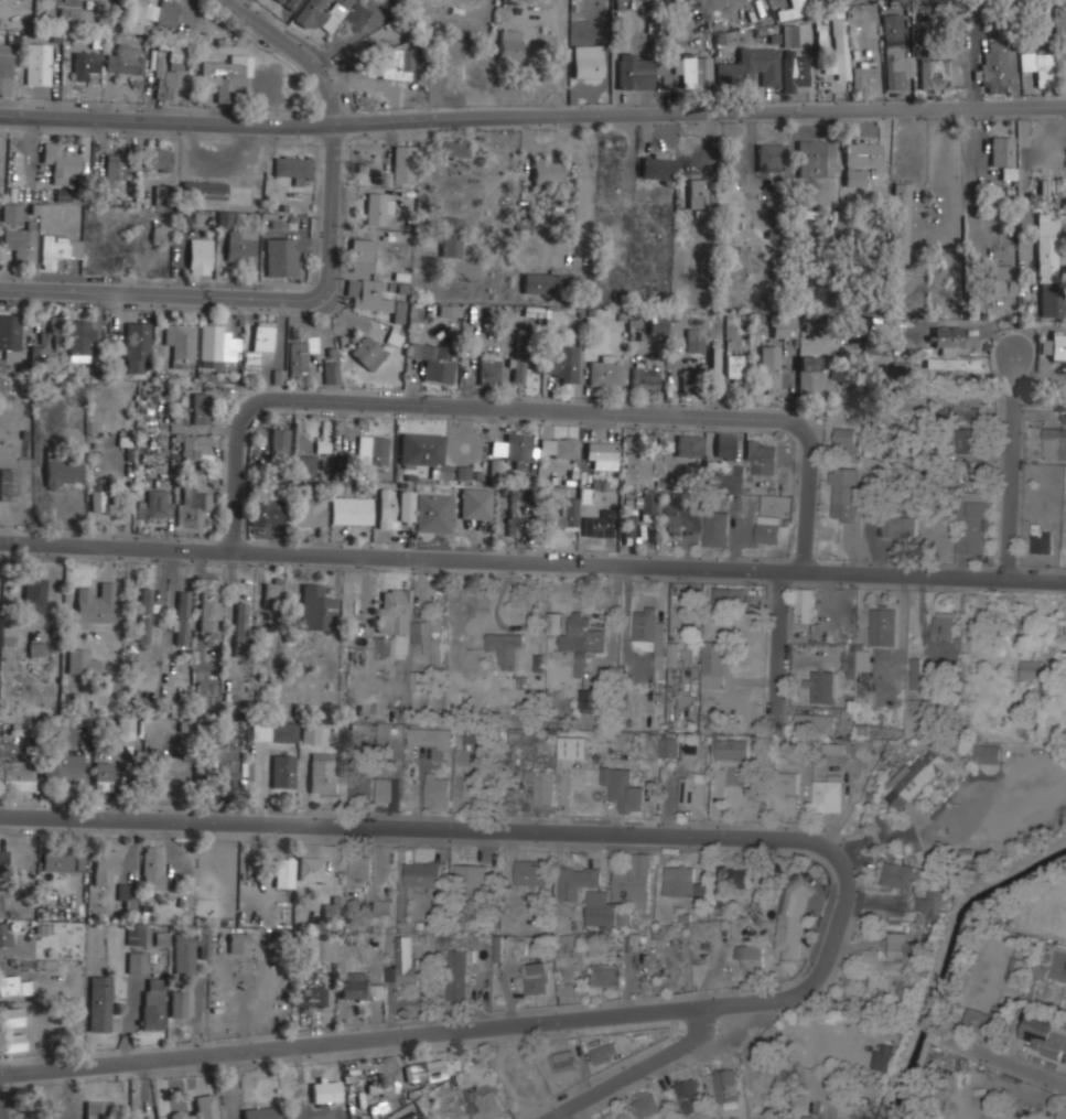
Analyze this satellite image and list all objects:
building: (289, 3)
building: (796, 3)
building: (168, 13)
building: (333, 13)
building: (133, 15)
building: (76, 18)
building: (788, 36)
building: (839, 43)
building: (509, 44)
road: (297, 49)
building: (894, 58)
building: (126, 60)
building: (588, 60)
road: (465, 61)
building: (39, 63)
building: (86, 63)
building: (408, 64)
building: (993, 66)
building: (1040, 66)
building: (7, 67)
building: (750, 67)
building: (694, 68)
building: (633, 69)
building: (795, 73)
building: (861, 73)
building: (937, 74)
building: (170, 79)
building: (224, 79)
road: (532, 117)
building: (0, 147)
building: (453, 148)
building: (1003, 154)
building: (772, 155)
building: (810, 157)
building: (158, 159)
building: (860, 160)
building: (61, 161)
building: (405, 163)
building: (657, 165)
building: (294, 168)
building: (120, 169)
building: (546, 169)
building: (205, 193)
building: (698, 193)
building: (67, 195)
building: (162, 195)
road: (582, 202)
building: (379, 208)
building: (12, 213)
building: (182, 218)
building: (900, 222)
building: (161, 232)
building: (452, 236)
building: (21, 240)
building: (241, 246)
building: (58, 249)
building: (200, 255)
building: (363, 255)
building: (281, 256)
building: (1048, 266)
building: (1003, 278)
building: (549, 281)
road: (250, 297)
building: (374, 298)
building: (552, 316)
building: (657, 321)
road: (958, 324)
building: (784, 326)
building: (55, 335)
building: (948, 336)
building: (9, 338)
building: (394, 338)
building: (696, 340)
building: (80, 342)
building: (182, 344)
building: (211, 345)
building: (1058, 346)
building: (137, 347)
building: (257, 349)
building: (367, 351)
building: (37, 355)
building: (300, 356)
building: (434, 361)
building: (563, 363)
building: (952, 363)
building: (714, 365)
building: (733, 367)
building: (519, 369)
building: (772, 369)
building: (489, 370)
building: (604, 372)
building: (332, 374)
building: (808, 374)
building: (645, 377)
building: (692, 379)
building: (1, 385)
building: (204, 406)
road: (524, 408)
building: (962, 411)
building: (967, 440)
building: (725, 444)
building: (279, 445)
building: (689, 445)
building: (196, 446)
building: (558, 448)
building: (1055, 448)
building: (518, 449)
building: (374, 450)
building: (424, 451)
building: (602, 454)
building: (762, 454)
building: (643, 465)
building: (63, 466)
road: (1011, 466)
building: (305, 467)
building: (732, 481)
building: (9, 484)
building: (844, 493)
building: (97, 494)
building: (476, 504)
building: (648, 505)
building: (153, 506)
building: (193, 507)
building: (396, 507)
building: (310, 510)
building: (355, 510)
building: (571, 510)
building: (268, 513)
building: (515, 513)
building: (434, 514)
building: (681, 517)
building: (629, 519)
building: (900, 523)
building: (975, 523)
building: (600, 524)
building: (717, 527)
building: (768, 529)
building: (1042, 538)
road: (532, 560)
building: (273, 590)
building: (34, 595)
building: (729, 596)
building: (211, 603)
building: (97, 604)
building: (805, 604)
building: (317, 609)
building: (395, 610)
road: (153, 613)
building: (146, 614)
building: (181, 616)
building: (240, 621)
building: (884, 624)
building: (943, 625)
building: (1063, 627)
building: (10, 631)
building: (583, 634)
building: (433, 639)
building: (652, 641)
road: (779, 643)
building: (505, 646)
building: (35, 648)
building: (385, 648)
building: (674, 654)
building: (851, 656)
building: (82, 663)
building: (714, 663)
building: (581, 665)
building: (1041, 665)
building: (418, 680)
building: (821, 686)
building: (1049, 690)
building: (593, 700)
building: (815, 722)
building: (127, 728)
building: (225, 729)
building: (286, 732)
building: (311, 733)
building: (471, 736)
building: (430, 738)
building: (668, 746)
building: (574, 747)
building: (732, 749)
building: (832, 749)
building: (62, 753)
building: (989, 753)
building: (171, 763)
building: (227, 771)
building: (283, 772)
building: (323, 772)
building: (17, 774)
building: (104, 775)
building: (917, 777)
building: (788, 782)
building: (542, 784)
building: (360, 787)
building: (474, 787)
building: (693, 788)
building: (439, 789)
building: (624, 789)
building: (389, 792)
building: (827, 794)
road: (850, 800)
road: (451, 827)
road: (919, 831)
building: (3, 858)
building: (57, 862)
building: (106, 864)
building: (152, 867)
building: (311, 869)
building: (360, 870)
building: (531, 872)
building: (283, 873)
building: (423, 873)
building: (731, 879)
building: (472, 880)
building: (634, 880)
building: (578, 881)
building: (682, 882)
building: (916, 887)
building: (128, 895)
building: (4, 900)
building: (383, 906)
building: (334, 908)
building: (601, 908)
building: (483, 922)
building: (789, 933)
building: (6, 934)
building: (136, 934)
building: (635, 942)
building: (239, 943)
building: (323, 947)
building: (190, 951)
building: (752, 955)
building: (137, 961)
building: (408, 964)
building: (894, 965)
building: (1015, 969)
building: (457, 975)
building: (606, 975)
building: (534, 978)
building: (13, 986)
building: (357, 987)
building: (377, 991)
building: (1044, 993)
building: (310, 996)
building: (100, 1003)
building: (153, 1003)
building: (177, 1003)
building: (12, 1016)
building: (977, 1020)
road: (442, 1029)
building: (1042, 1039)
building: (17, 1041)
building: (605, 1052)
road: (669, 1052)
building: (884, 1056)
road: (1010, 1058)
building: (567, 1064)
building: (432, 1068)
building: (760, 1075)
building: (726, 1085)
building: (381, 1087)
building: (324, 1091)
building: (689, 1095)
building: (647, 1106)
building: (487, 1107)
road: (3, 1108)
building: (198, 1108)
building: (94, 1109)
building: (1062, 1111)
building: (260, 1112)
building: (410, 1116)
building: (612, 1116)
building: (812, 1116)

